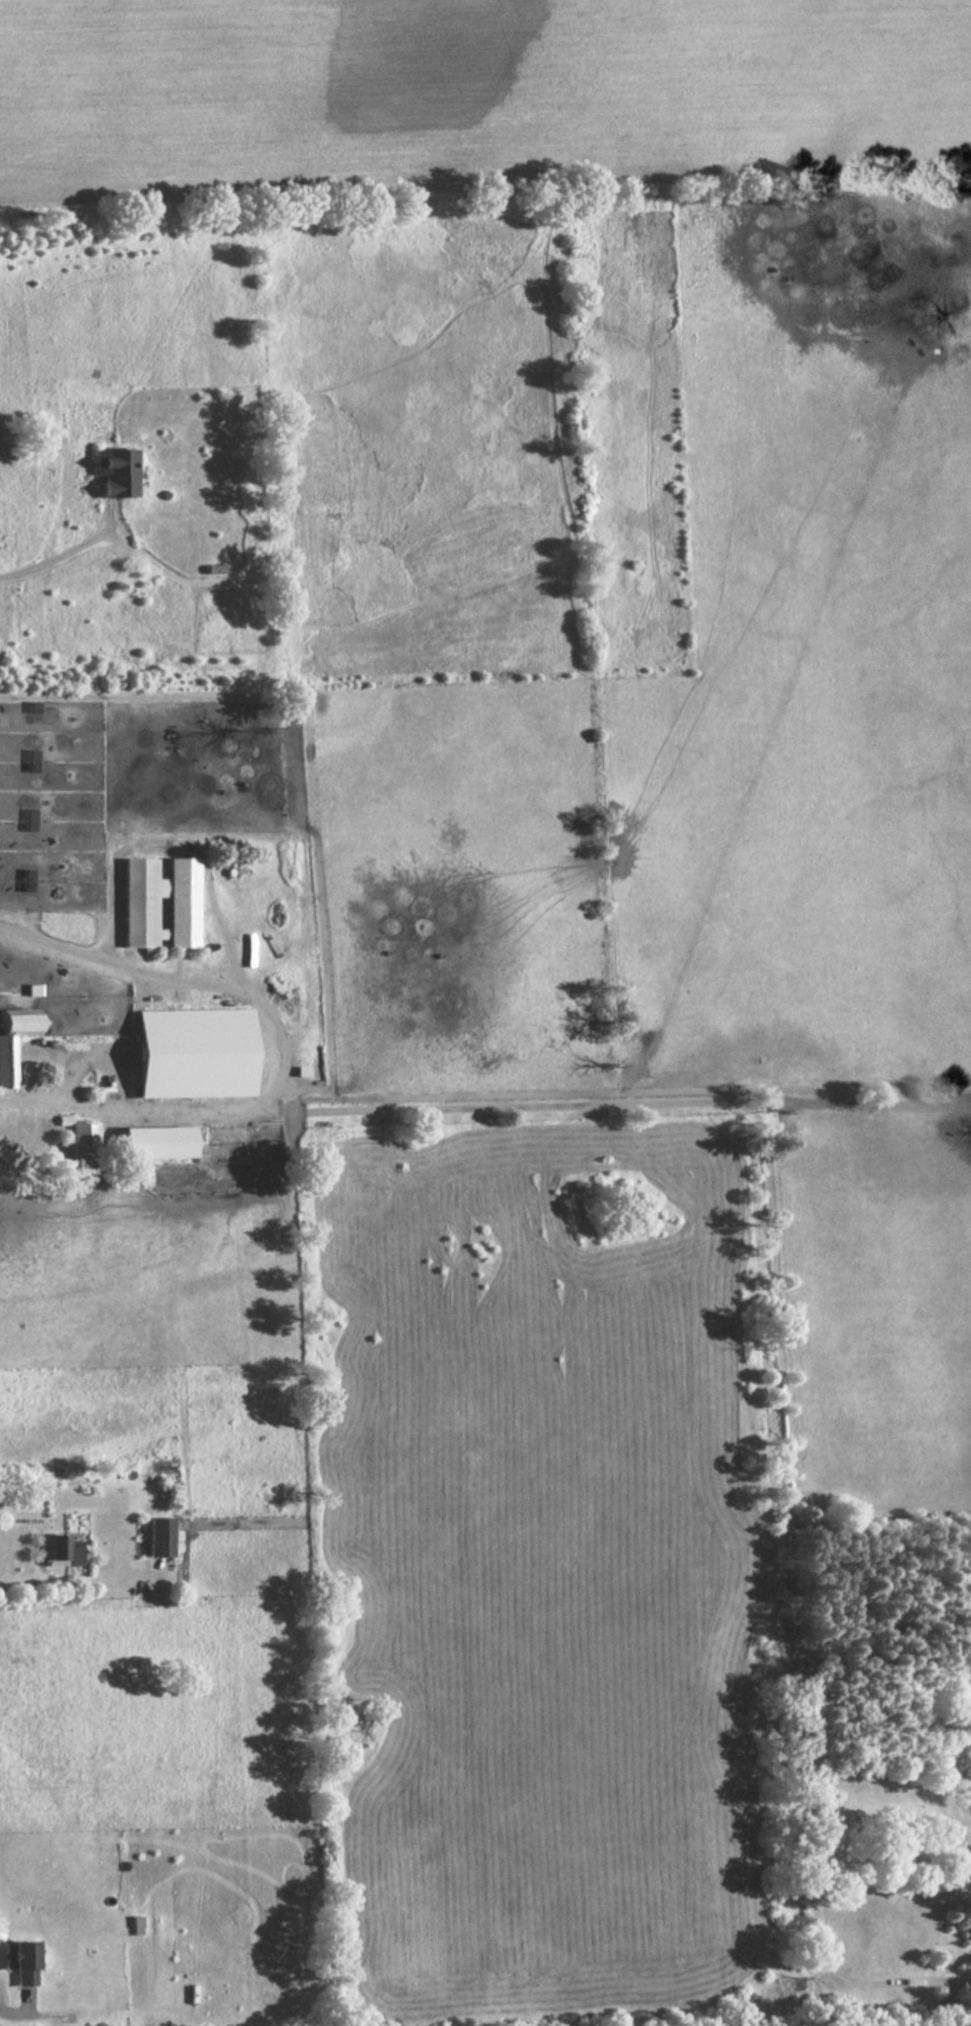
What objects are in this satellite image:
building: (118, 470)
road: (56, 556)
building: (161, 903)
building: (15, 1039)
road: (117, 1050)
road: (287, 1053)
building: (154, 1140)
building: (86, 1142)
building: (160, 1534)
building: (62, 1546)
road: (67, 1576)
building: (18, 1959)
road: (17, 2012)

